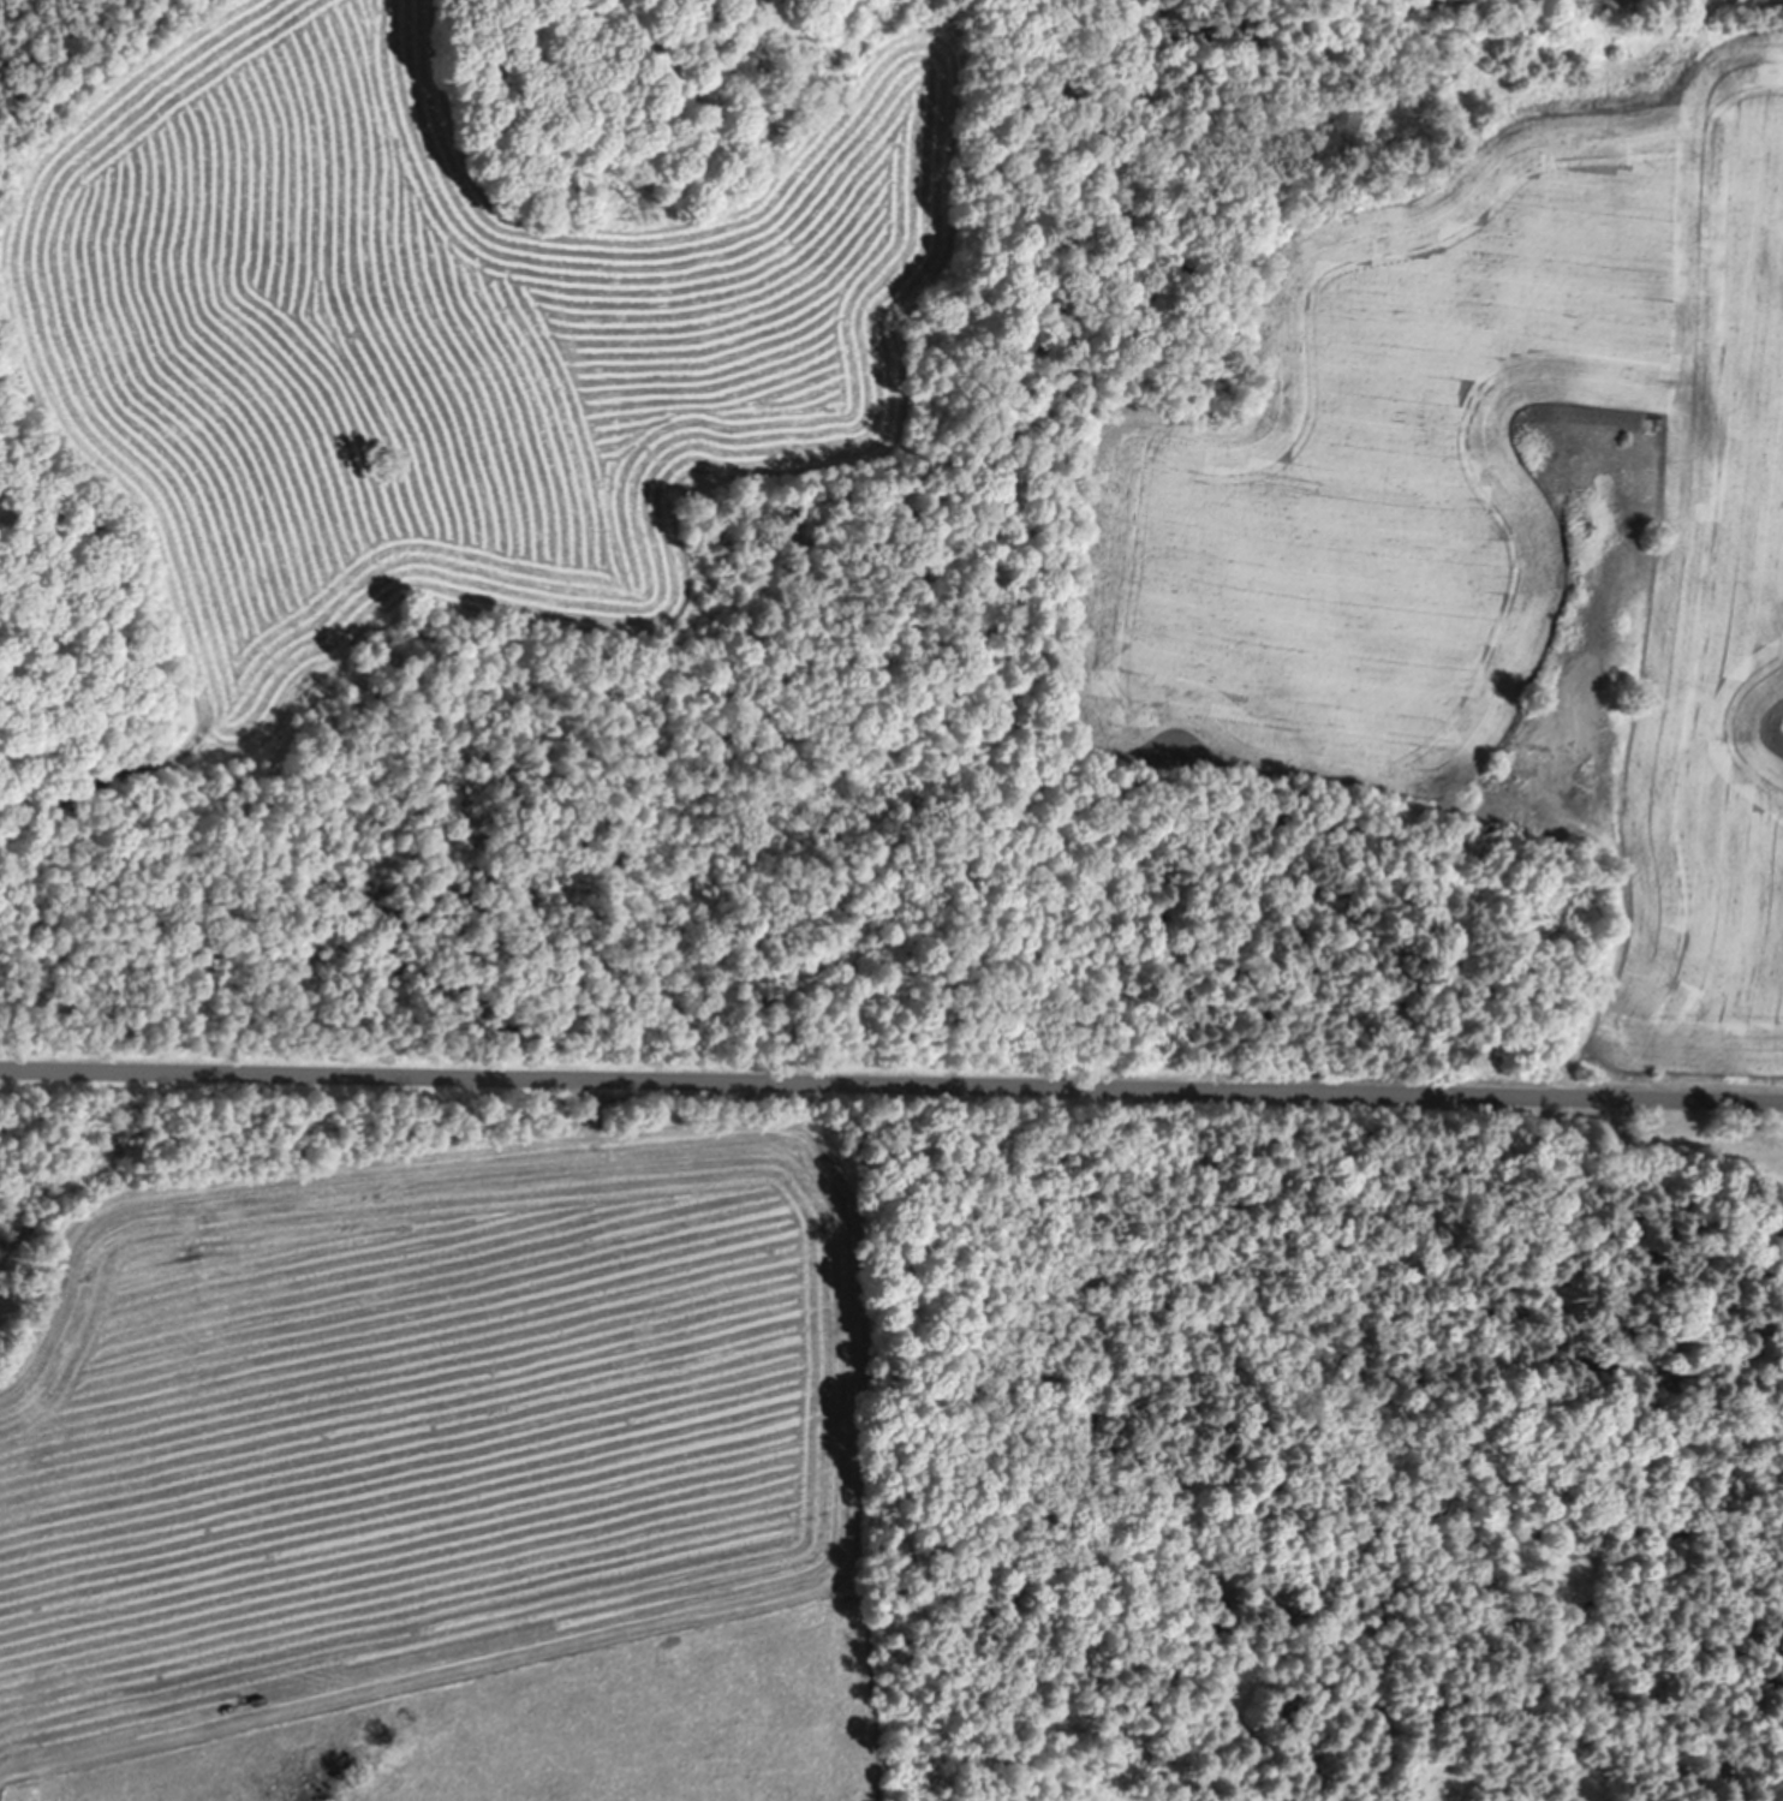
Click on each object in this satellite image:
road: (891, 1081)

